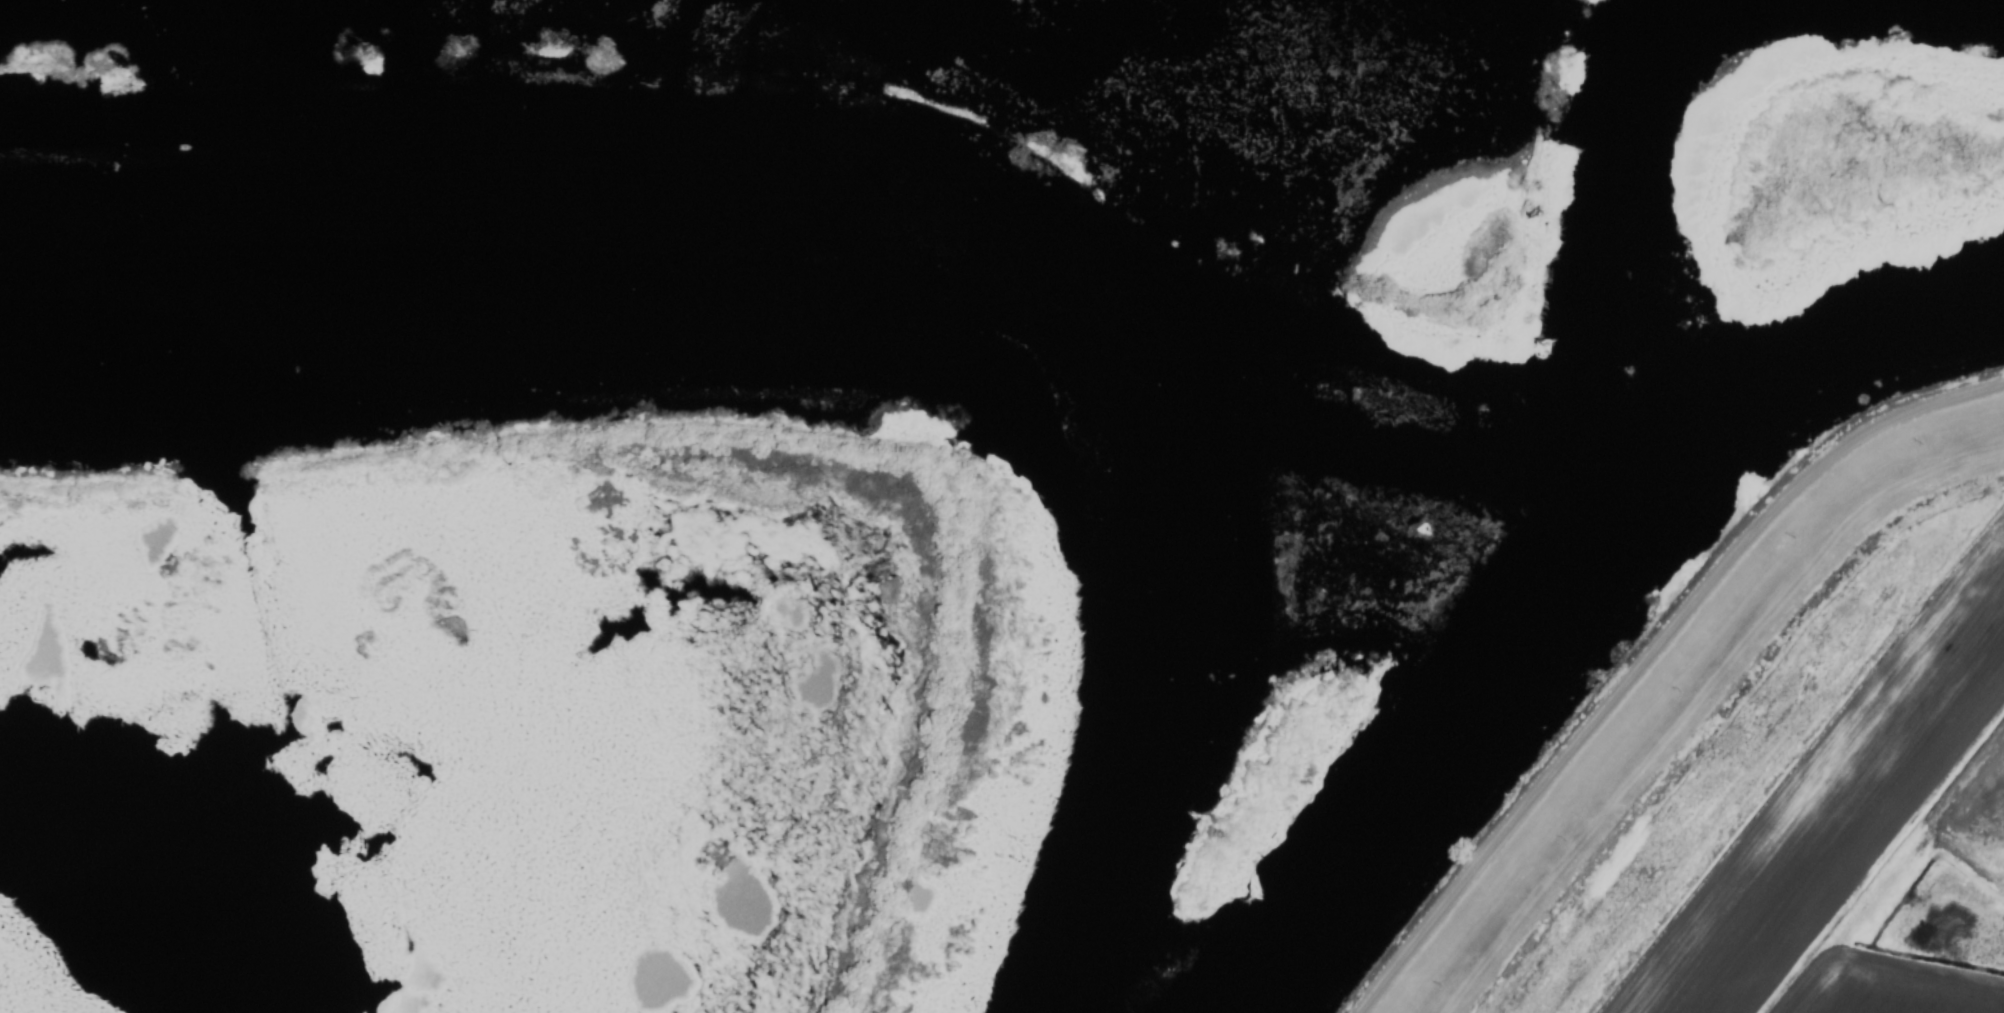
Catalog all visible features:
river: (1529, 539)
road: (1643, 651)
crop: (1805, 809)

